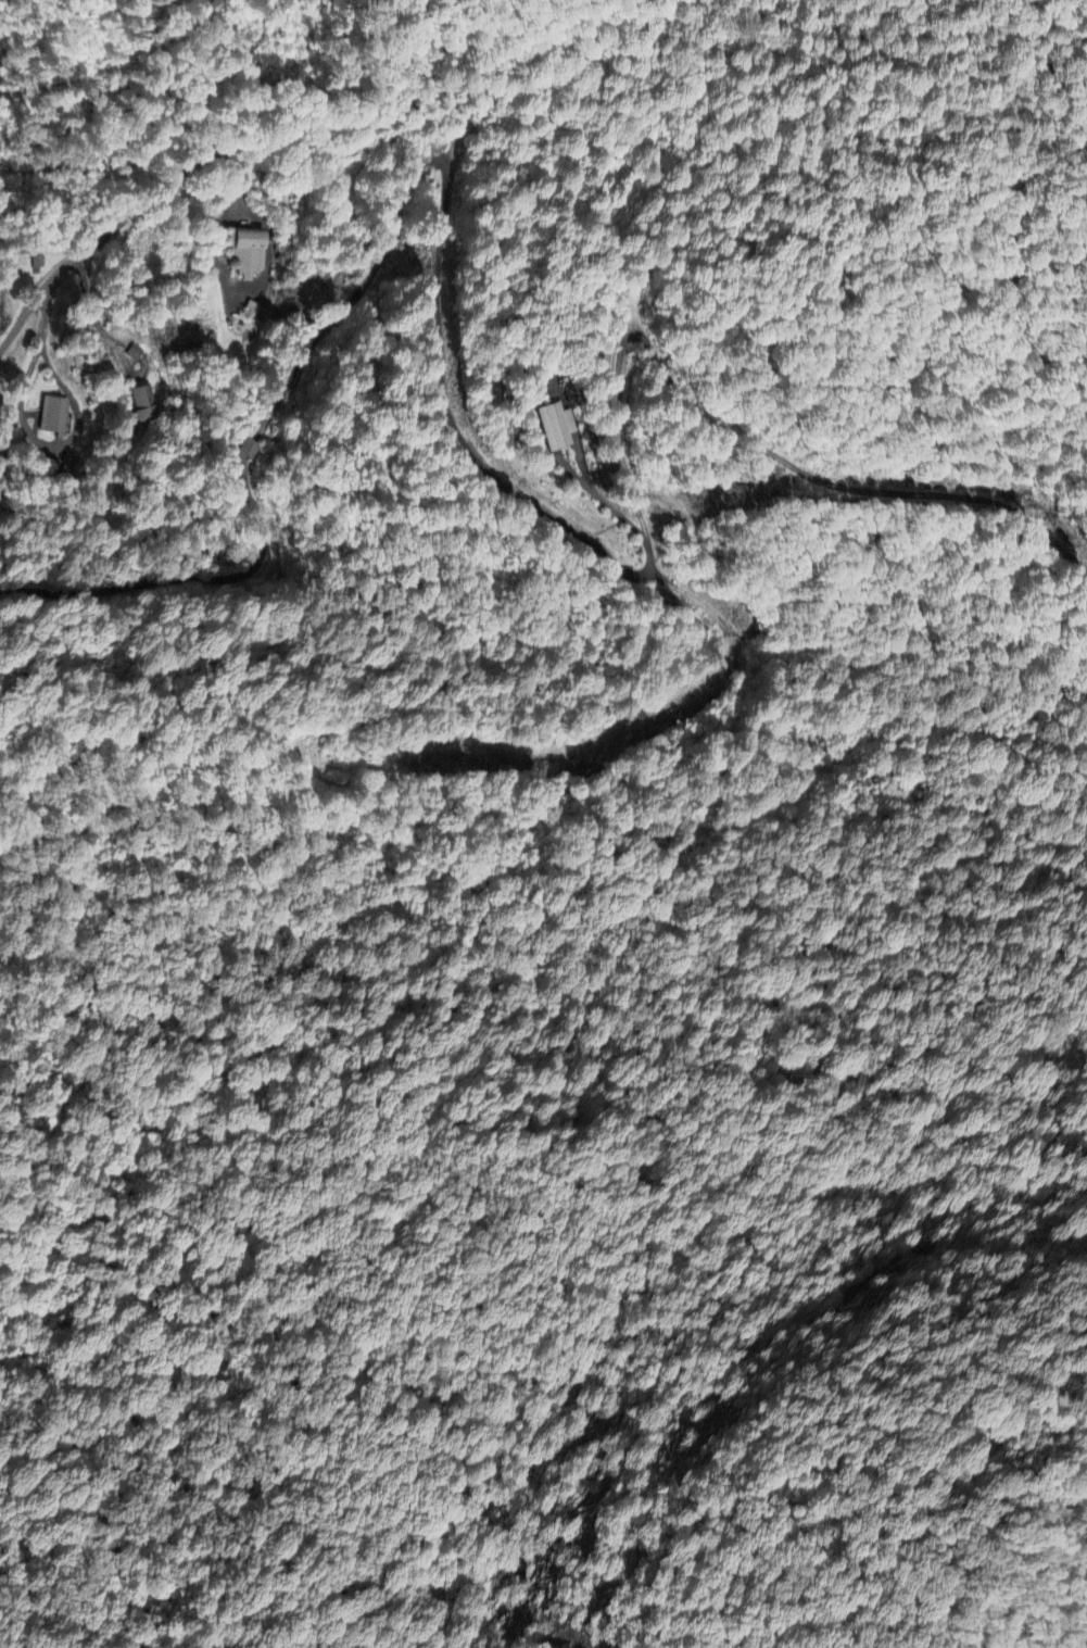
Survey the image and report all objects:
road: (116, 221)
building: (248, 253)
building: (143, 403)
building: (53, 416)
building: (555, 426)
road: (456, 430)
building: (248, 449)

